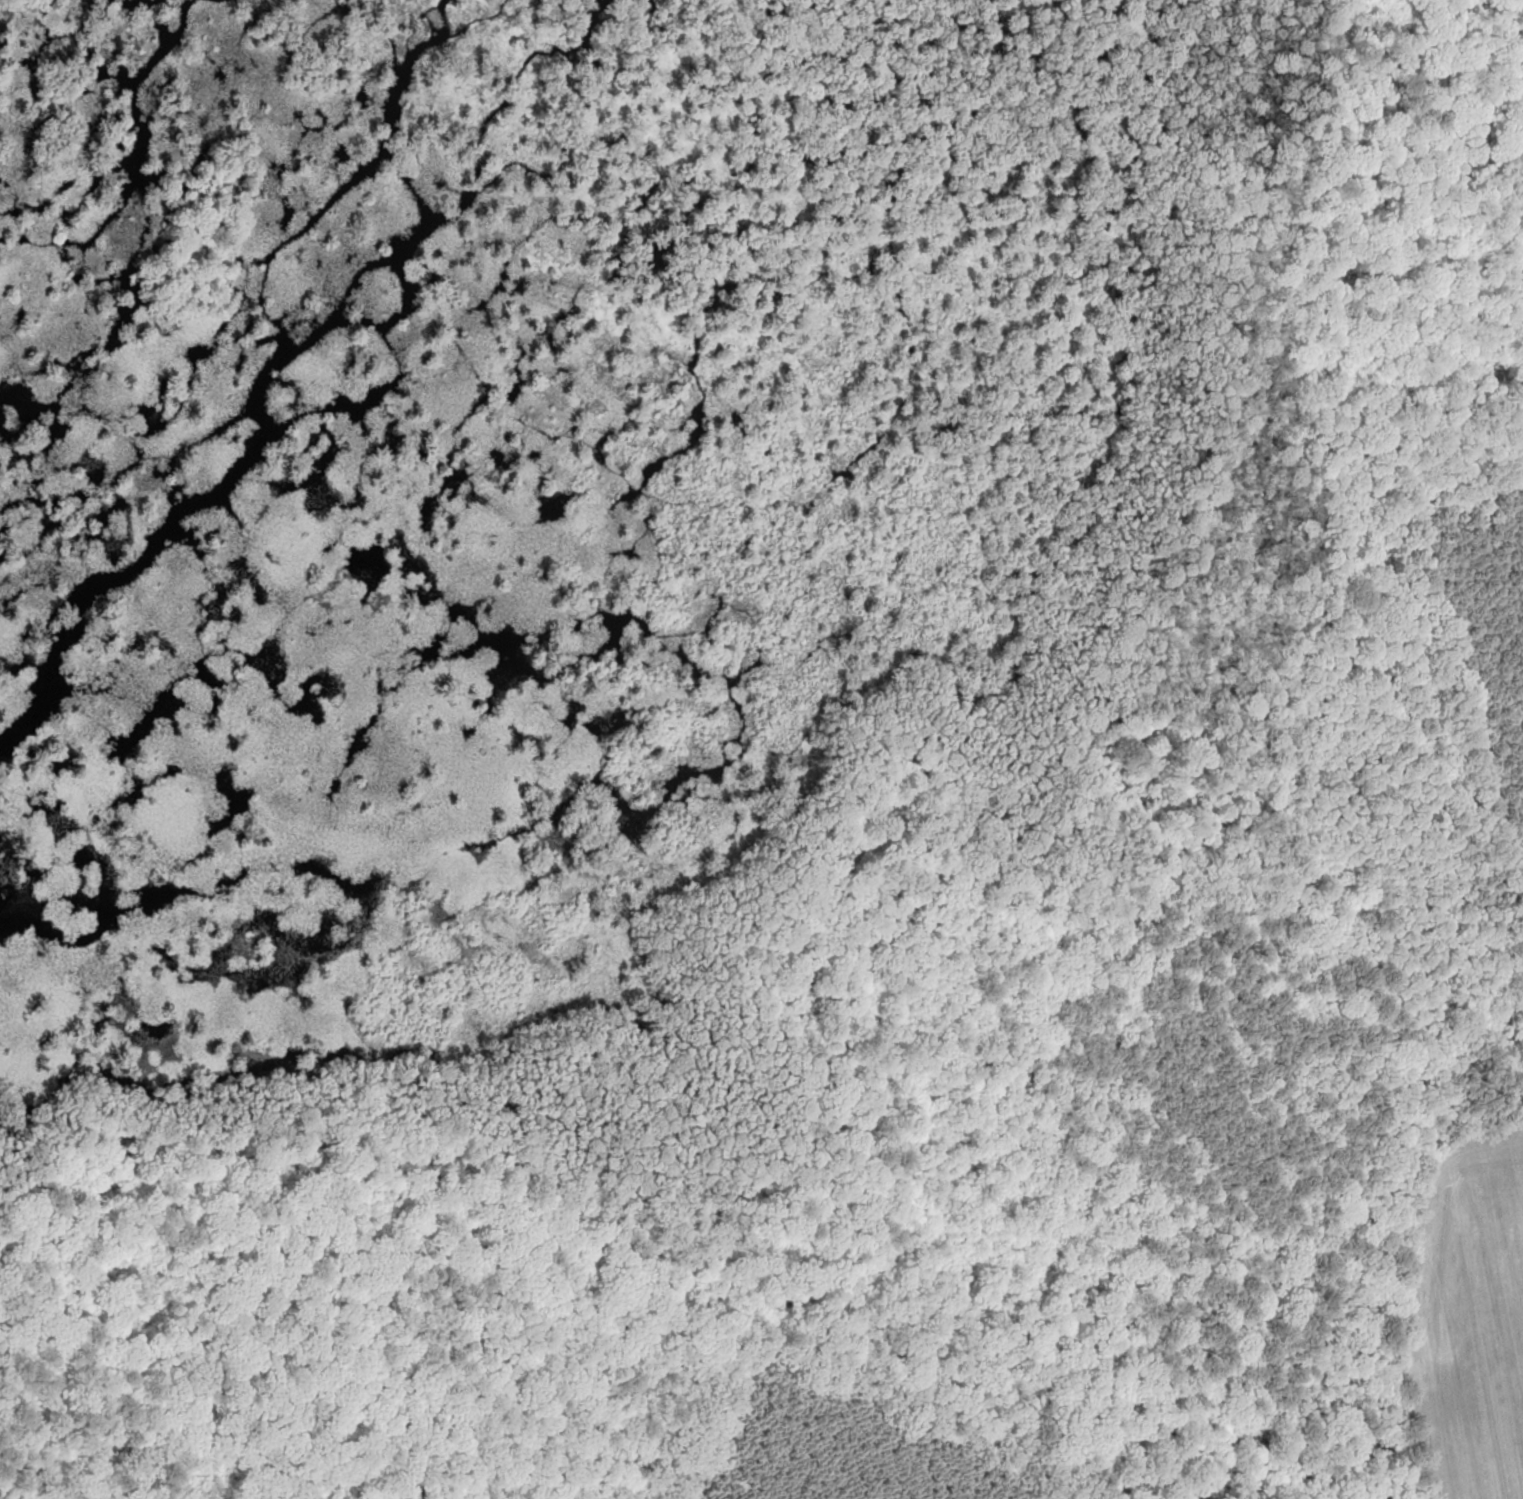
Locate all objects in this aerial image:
park: (736, 723)

